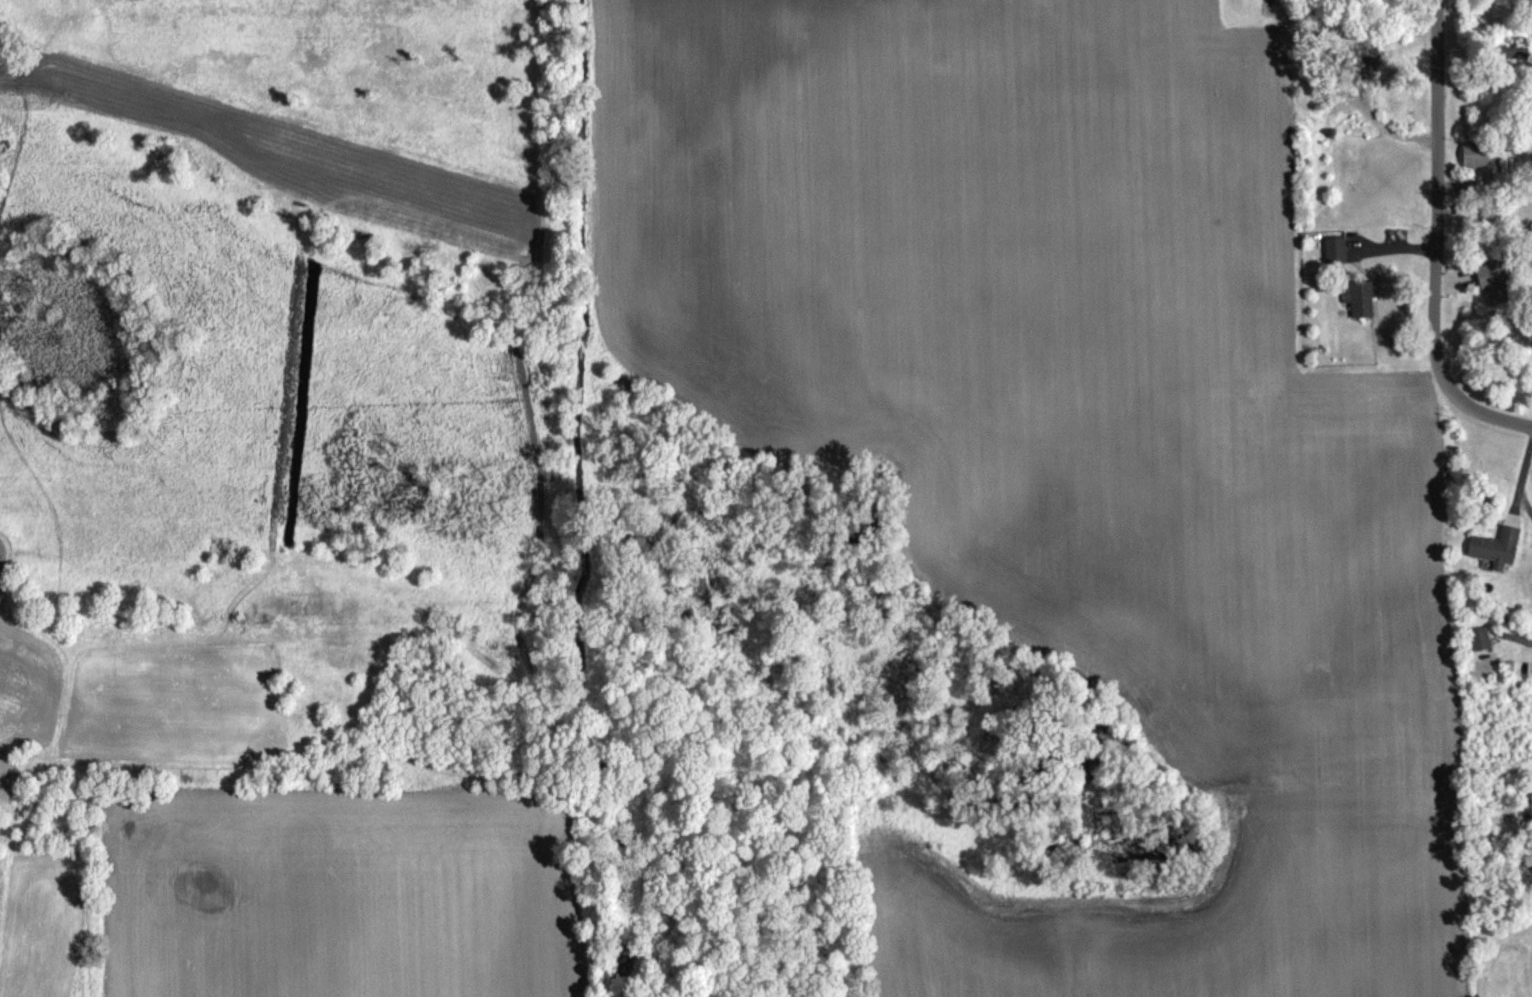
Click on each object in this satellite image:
building: (1515, 47)
building: (1365, 59)
building: (1476, 153)
road: (1430, 244)
building: (1335, 249)
building: (1494, 282)
building: (1360, 297)
building: (1496, 546)
building: (1479, 637)

